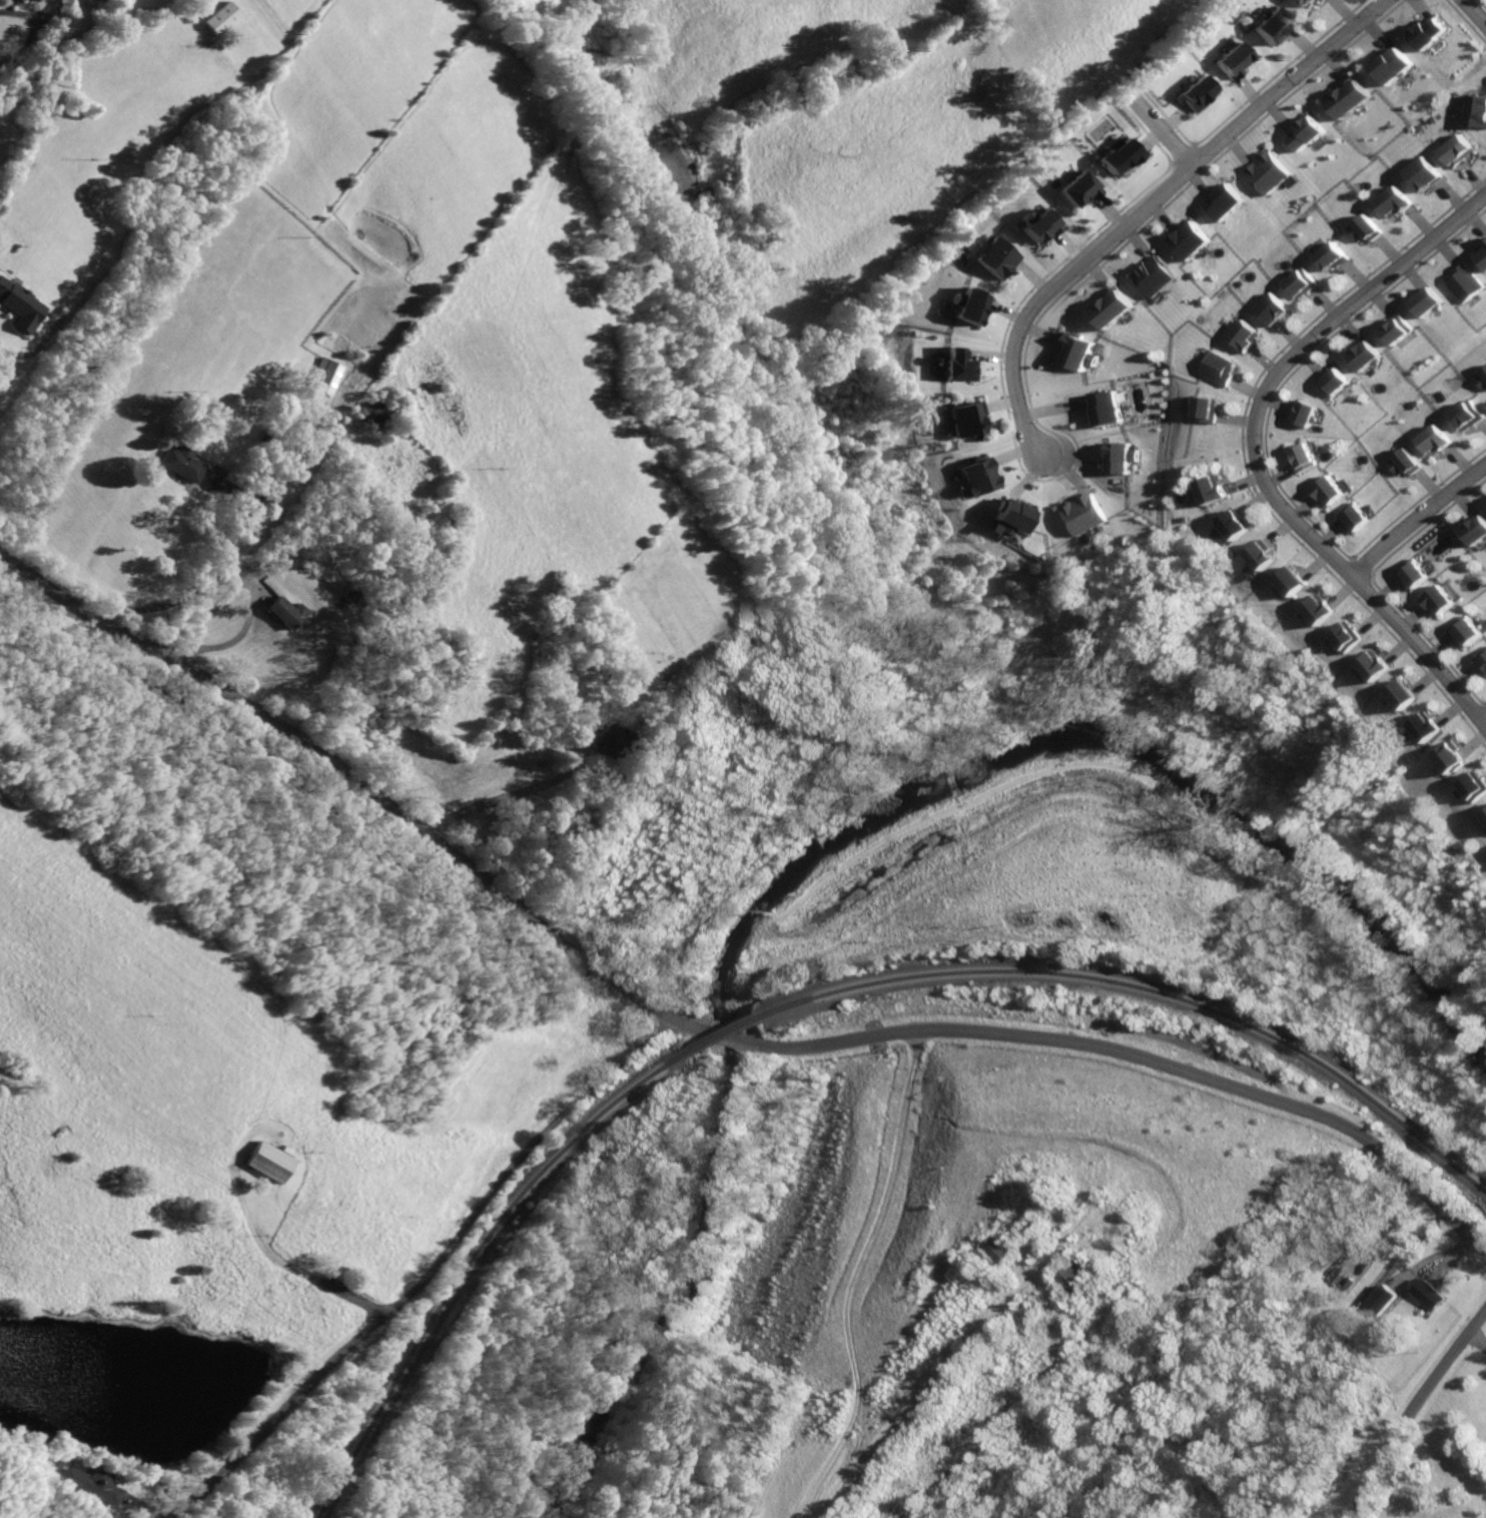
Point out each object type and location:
building: (41, 0)
building: (1305, 3)
road: (22, 12)
building: (223, 18)
road: (1469, 18)
building: (1271, 25)
building: (1422, 33)
road: (33, 37)
building: (1228, 55)
building: (1386, 68)
building: (1344, 91)
building: (1195, 92)
building: (1474, 111)
road: (1162, 128)
building: (1308, 134)
building: (1451, 151)
building: (1123, 157)
building: (1270, 164)
building: (1420, 174)
building: (1084, 188)
building: (1392, 201)
building: (1228, 202)
road: (1147, 205)
building: (1041, 220)
building: (1365, 228)
building: (1191, 240)
building: (1482, 253)
building: (1001, 257)
building: (1335, 257)
building: (1150, 267)
building: (1462, 283)
building: (1306, 284)
building: (1106, 300)
building: (1426, 302)
building: (22, 304)
building: (974, 306)
building: (1276, 309)
building: (1398, 330)
building: (1245, 336)
building: (1073, 342)
building: (1368, 356)
building: (962, 365)
building: (1217, 369)
building: (330, 376)
building: (1481, 379)
building: (1338, 381)
crop: (486, 388)
building: (1100, 399)
building: (963, 410)
building: (1205, 410)
building: (378, 415)
building: (1308, 415)
building: (1470, 417)
building: (1439, 440)
road: (1255, 450)
building: (1114, 451)
building: (1307, 458)
building: (185, 463)
building: (1411, 463)
building: (977, 468)
building: (1212, 490)
building: (1333, 490)
building: (1010, 507)
building: (1074, 507)
building: (1360, 518)
road: (1418, 520)
building: (1235, 524)
building: (1478, 531)
building: (1260, 555)
road: (223, 569)
building: (1420, 575)
building: (1289, 581)
building: (355, 594)
building: (1445, 600)
road: (224, 601)
building: (292, 611)
building: (1316, 611)
building: (1471, 631)
road: (244, 634)
building: (1347, 637)
building: (1483, 660)
building: (1375, 666)
building: (1402, 695)
road: (1483, 717)
building: (1426, 727)
building: (621, 738)
building: (1444, 752)
road: (353, 773)
building: (1468, 779)
road: (517, 794)
building: (1483, 809)
building: (1484, 816)
railway: (1141, 990)
road: (709, 1035)
railway: (714, 1040)
road: (909, 1049)
road: (1137, 1053)
crop: (242, 1116)
road: (519, 1158)
building: (272, 1161)
building: (998, 1249)
road: (268, 1255)
railway: (472, 1264)
road: (855, 1274)
building: (1072, 1276)
building: (1430, 1294)
building: (1382, 1299)
road: (1479, 1339)
road: (970, 1341)
road: (1414, 1413)
road: (256, 1435)
building: (85, 1484)
crop: (7, 1515)

